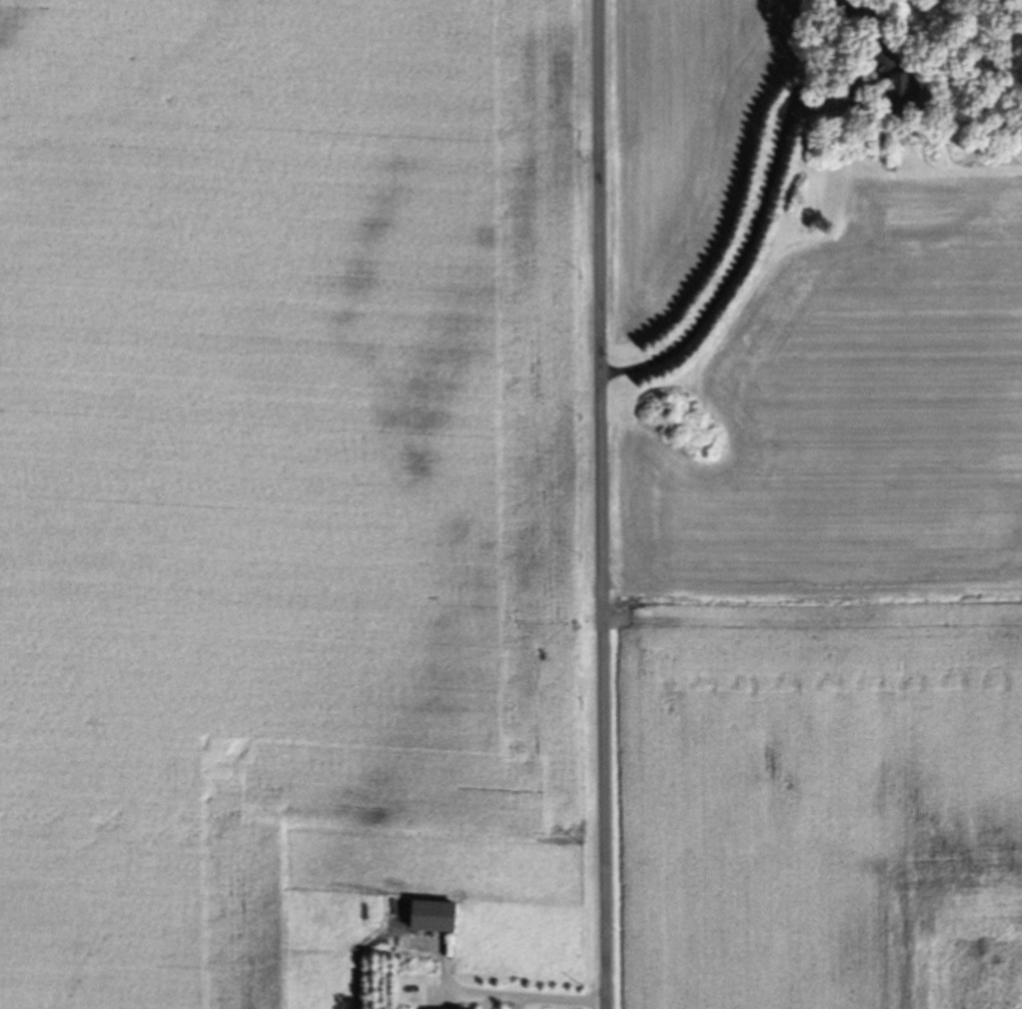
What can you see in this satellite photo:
building: (889, 88)
road: (733, 259)
road: (603, 504)
building: (428, 918)
road: (528, 997)

